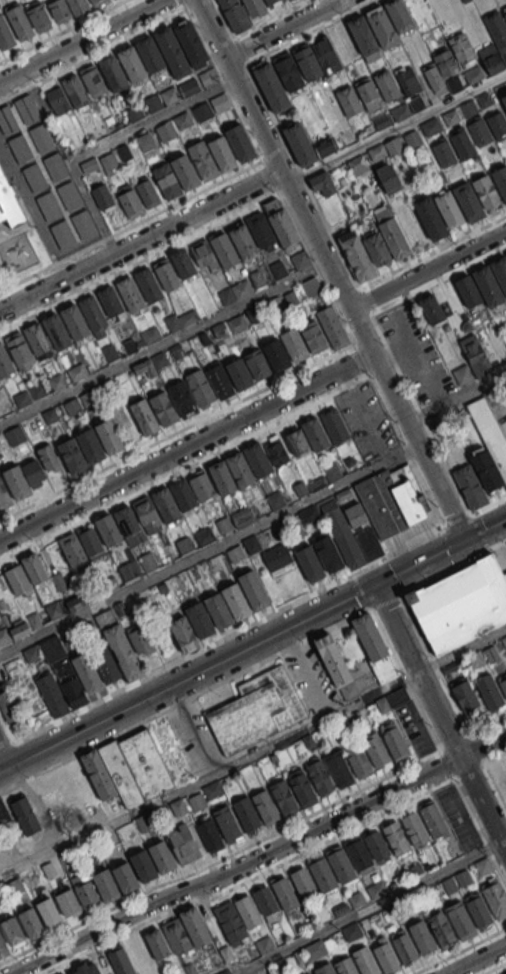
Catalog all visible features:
building: (99, 2)
building: (272, 2)
road: (185, 4)
building: (254, 7)
building: (66, 9)
building: (234, 14)
building: (398, 15)
building: (505, 15)
building: (38, 16)
road: (169, 18)
road: (270, 18)
building: (21, 23)
building: (381, 26)
road: (284, 29)
road: (61, 30)
road: (230, 31)
building: (497, 31)
building: (6, 35)
building: (365, 39)
road: (84, 42)
building: (193, 45)
building: (461, 47)
building: (174, 53)
building: (152, 54)
building: (491, 58)
building: (444, 60)
building: (309, 63)
building: (133, 64)
building: (290, 71)
building: (115, 73)
building: (473, 74)
building: (207, 77)
building: (434, 78)
building: (407, 79)
building: (95, 81)
building: (454, 84)
building: (386, 85)
building: (188, 86)
building: (274, 88)
building: (368, 94)
building: (67, 95)
building: (170, 95)
building: (483, 99)
building: (504, 99)
building: (349, 101)
building: (220, 102)
building: (153, 103)
building: (416, 103)
building: (26, 108)
building: (468, 108)
building: (201, 111)
building: (400, 111)
road: (270, 112)
building: (133, 113)
building: (451, 117)
building: (7, 120)
road: (152, 120)
building: (182, 121)
building: (380, 121)
building: (497, 124)
building: (430, 126)
road: (395, 128)
building: (164, 131)
building: (480, 132)
building: (41, 137)
building: (411, 137)
building: (144, 141)
building: (462, 143)
building: (242, 144)
building: (302, 144)
building: (393, 145)
building: (20, 149)
building: (378, 152)
building: (443, 153)
building: (224, 154)
building: (98, 163)
building: (206, 163)
building: (357, 164)
building: (55, 166)
building: (187, 173)
building: (35, 176)
building: (387, 178)
building: (501, 179)
building: (168, 182)
building: (322, 183)
building: (486, 191)
building: (147, 193)
building: (69, 194)
building: (103, 198)
building: (468, 202)
building: (10, 203)
building: (48, 205)
road: (94, 209)
building: (448, 209)
road: (147, 217)
building: (430, 218)
building: (84, 223)
road: (213, 225)
building: (262, 230)
building: (62, 233)
building: (394, 239)
building: (246, 243)
road: (141, 245)
building: (356, 255)
road: (419, 257)
building: (299, 259)
building: (183, 263)
road: (329, 270)
road: (427, 270)
building: (500, 271)
building: (168, 276)
building: (150, 286)
building: (487, 286)
building: (311, 287)
building: (468, 291)
building: (235, 292)
building: (131, 295)
building: (113, 304)
building: (431, 308)
building: (94, 314)
building: (182, 319)
building: (76, 323)
building: (332, 326)
building: (58, 332)
building: (151, 335)
building: (39, 341)
road: (162, 344)
building: (294, 345)
road: (387, 346)
building: (21, 352)
building: (471, 360)
building: (5, 363)
building: (248, 369)
building: (77, 371)
building: (219, 380)
road: (463, 392)
building: (191, 393)
building: (163, 408)
building: (144, 416)
road: (193, 423)
building: (334, 424)
road: (259, 430)
building: (489, 432)
building: (111, 438)
building: (307, 438)
building: (92, 447)
road: (186, 447)
building: (276, 450)
building: (239, 468)
building: (486, 470)
building: (18, 485)
building: (469, 487)
building: (300, 488)
building: (344, 493)
building: (4, 497)
building: (276, 499)
building: (392, 499)
road: (488, 505)
building: (153, 511)
building: (332, 512)
building: (309, 515)
building: (356, 515)
road: (458, 520)
road: (478, 531)
traffic signals: (463, 540)
building: (369, 542)
building: (252, 544)
road: (497, 544)
building: (81, 546)
building: (349, 548)
road: (398, 549)
road: (208, 550)
building: (328, 553)
building: (235, 554)
building: (277, 559)
building: (148, 561)
building: (310, 563)
building: (34, 568)
building: (129, 570)
road: (444, 571)
building: (17, 579)
traffic signals: (374, 585)
building: (253, 589)
road: (360, 590)
building: (236, 600)
road: (384, 600)
building: (461, 602)
building: (65, 606)
building: (218, 610)
building: (200, 619)
building: (24, 627)
building: (183, 634)
building: (3, 637)
building: (141, 640)
road: (253, 644)
building: (373, 647)
road: (461, 649)
building: (31, 652)
building: (123, 652)
building: (56, 658)
road: (181, 658)
building: (332, 660)
building: (105, 664)
road: (308, 671)
building: (86, 673)
road: (404, 678)
building: (502, 681)
building: (489, 690)
building: (73, 692)
building: (468, 692)
building: (52, 694)
road: (184, 699)
road: (453, 700)
building: (9, 705)
building: (255, 710)
road: (439, 719)
road: (488, 726)
road: (7, 727)
road: (191, 729)
building: (393, 739)
road: (454, 742)
road: (5, 745)
road: (482, 746)
building: (375, 747)
road: (495, 757)
road: (4, 759)
building: (357, 760)
building: (146, 763)
building: (337, 769)
road: (468, 769)
building: (121, 773)
building: (97, 774)
road: (208, 775)
building: (319, 776)
building: (301, 787)
building: (205, 795)
building: (284, 797)
building: (264, 805)
building: (178, 807)
building: (245, 813)
building: (24, 815)
road: (472, 816)
building: (431, 817)
building: (5, 818)
building: (226, 822)
building: (414, 828)
building: (208, 833)
building: (396, 838)
road: (503, 839)
building: (182, 844)
building: (376, 844)
building: (357, 854)
building: (160, 855)
road: (220, 857)
building: (143, 865)
building: (340, 865)
road: (236, 866)
building: (321, 874)
building: (125, 877)
road: (248, 879)
building: (105, 884)
building: (303, 884)
building: (377, 889)
building: (85, 893)
building: (285, 894)
building: (264, 899)
building: (495, 900)
building: (68, 903)
building: (478, 908)
building: (47, 911)
building: (247, 911)
road: (354, 914)
building: (460, 920)
building: (30, 921)
building: (230, 921)
building: (195, 926)
building: (10, 930)
building: (441, 930)
building: (176, 936)
building: (422, 936)
building: (3, 943)
building: (156, 943)
building: (265, 944)
building: (404, 947)
road: (458, 950)
building: (385, 958)
building: (365, 960)
road: (478, 960)
building: (119, 962)
building: (345, 966)
road: (493, 967)
building: (324, 969)
building: (80, 970)
road: (235, 970)
building: (224, 972)
building: (306, 972)
building: (64, 973)
building: (310, 973)

